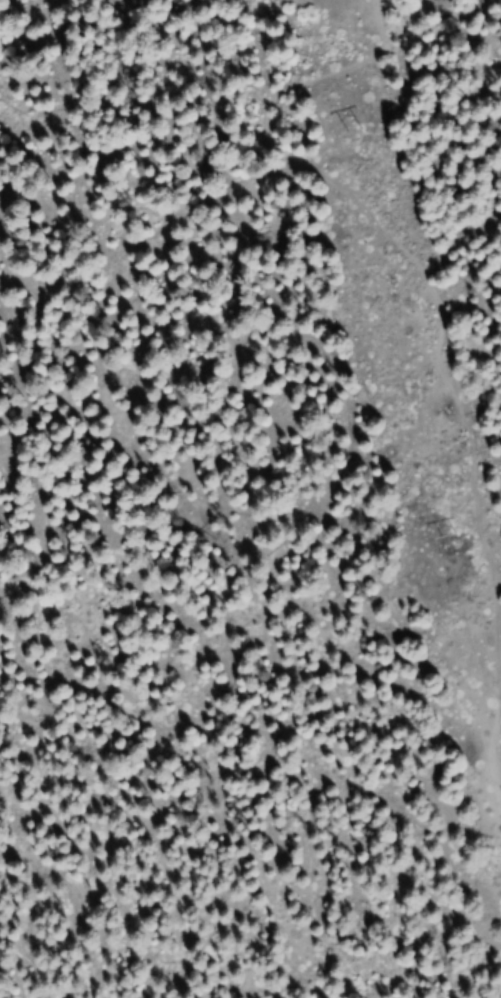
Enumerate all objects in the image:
power tower: (345, 129)
power tower: (438, 534)

